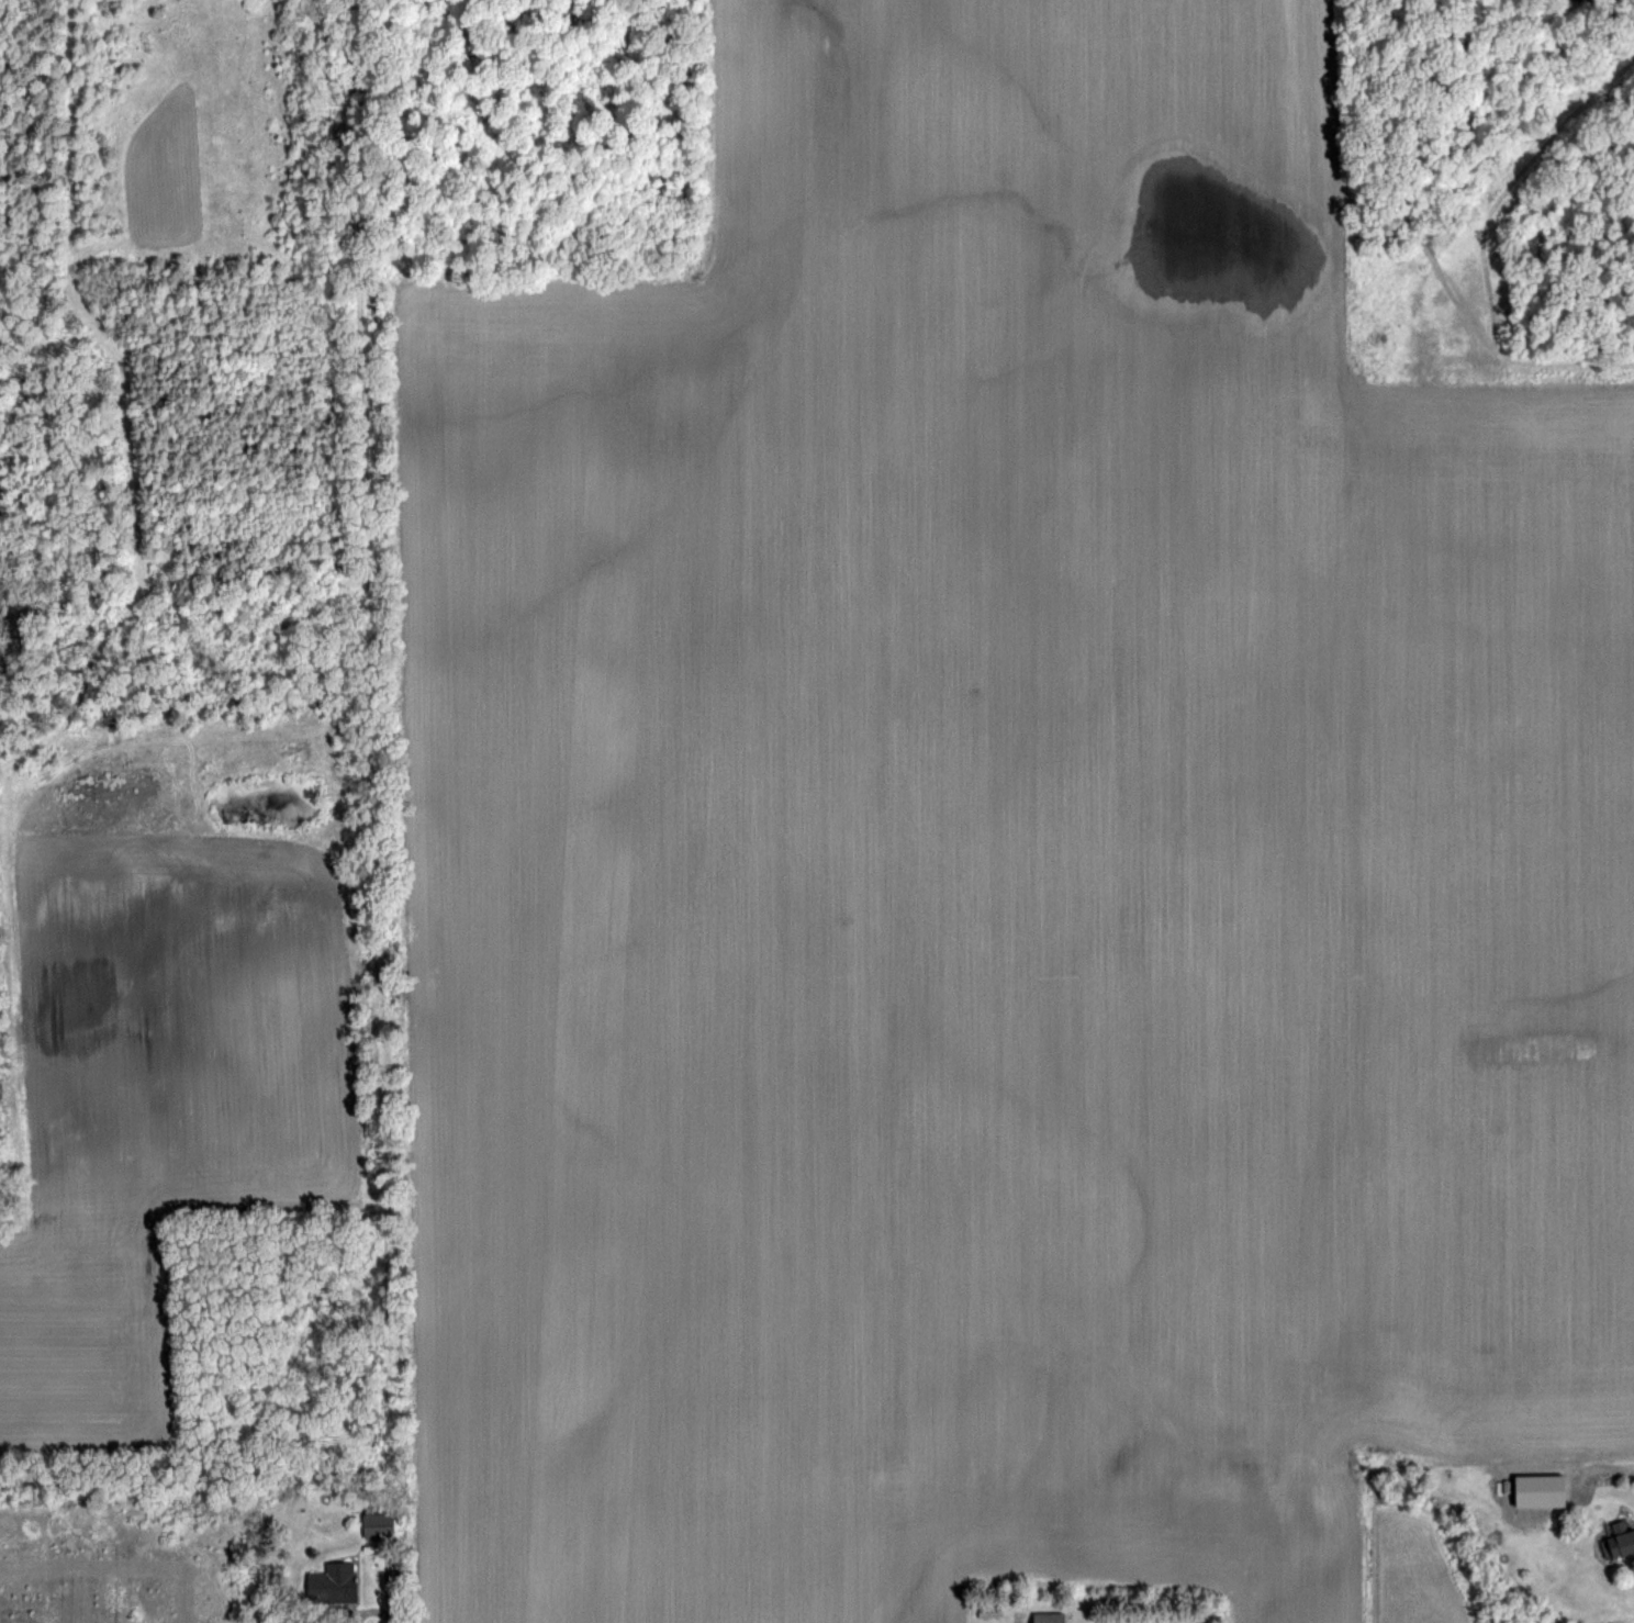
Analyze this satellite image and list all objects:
crop: (784, 754)
building: (1535, 1490)
building: (369, 1514)
building: (382, 1525)
building: (1614, 1536)
building: (327, 1579)
building: (982, 1610)
building: (989, 1611)
building: (1043, 1616)

